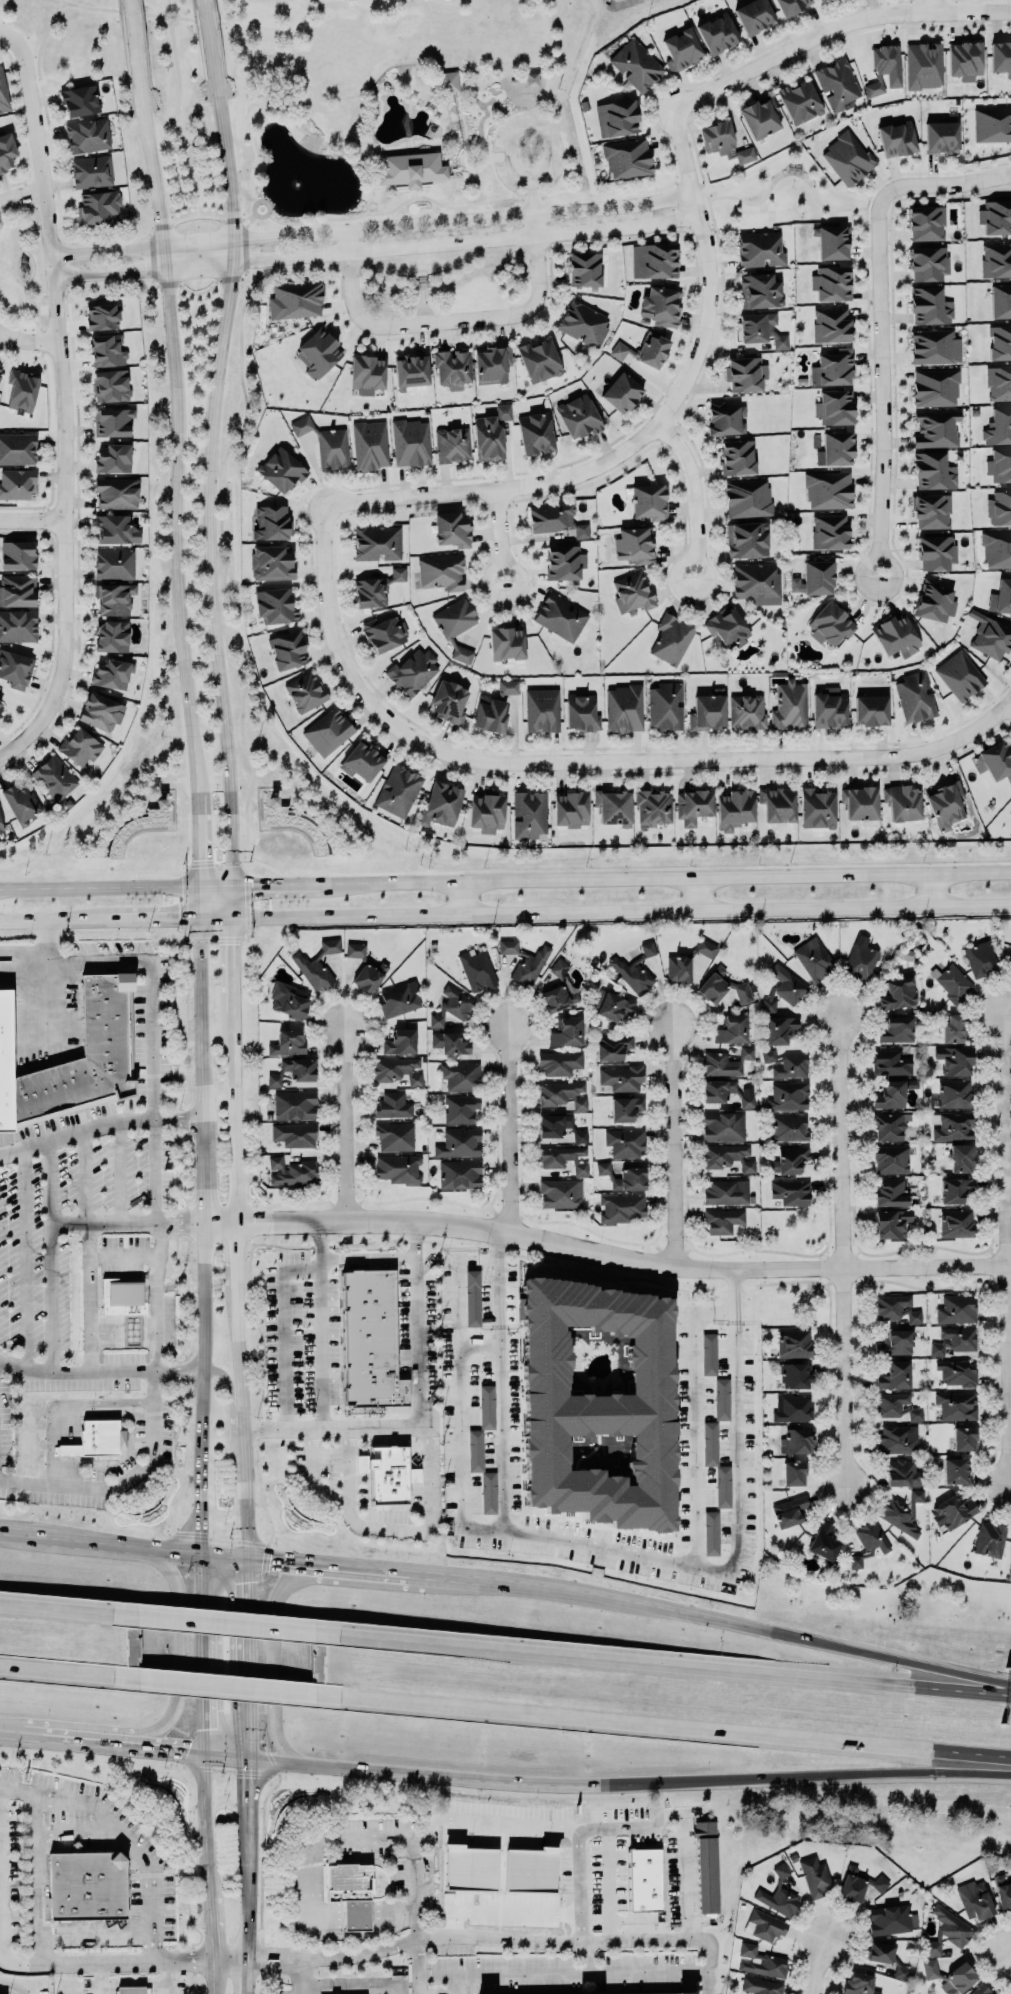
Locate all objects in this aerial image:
building: (820, 0)
road: (451, 2)
road: (168, 4)
road: (85, 5)
building: (791, 5)
road: (933, 5)
road: (153, 13)
building: (754, 16)
road: (163, 17)
road: (185, 18)
road: (257, 25)
road: (836, 29)
building: (718, 33)
road: (45, 36)
road: (7, 38)
road: (209, 39)
road: (135, 44)
building: (681, 49)
building: (1001, 57)
building: (965, 60)
building: (636, 64)
building: (923, 65)
road: (491, 77)
building: (447, 81)
road: (371, 83)
building: (837, 84)
building: (3, 92)
building: (79, 100)
building: (799, 101)
road: (459, 108)
building: (759, 116)
building: (617, 117)
road: (177, 122)
building: (992, 124)
road: (251, 125)
building: (87, 135)
road: (312, 135)
building: (941, 137)
road: (492, 138)
building: (897, 139)
building: (723, 142)
parking lot: (554, 150)
building: (6, 151)
road: (462, 151)
road: (354, 153)
road: (497, 155)
building: (627, 158)
building: (847, 158)
building: (411, 169)
building: (91, 171)
road: (538, 175)
road: (778, 176)
road: (438, 179)
fountain: (301, 181)
road: (945, 181)
road: (21, 194)
road: (533, 195)
road: (479, 203)
road: (59, 204)
building: (97, 207)
road: (254, 214)
road: (259, 214)
building: (995, 217)
road: (196, 218)
road: (242, 218)
building: (926, 223)
road: (373, 229)
road: (620, 240)
building: (832, 241)
road: (245, 245)
road: (376, 249)
building: (759, 249)
road: (152, 258)
building: (657, 260)
building: (996, 260)
building: (928, 263)
road: (68, 264)
building: (584, 269)
road: (33, 270)
road: (391, 274)
building: (831, 283)
road: (75, 289)
road: (207, 290)
building: (759, 291)
road: (423, 299)
building: (295, 300)
building: (1000, 301)
building: (661, 305)
building: (930, 306)
building: (102, 316)
road: (447, 321)
building: (583, 323)
building: (831, 324)
building: (762, 329)
road: (28, 341)
building: (1000, 342)
building: (935, 346)
building: (651, 349)
building: (107, 350)
building: (619, 350)
building: (318, 352)
building: (539, 360)
building: (492, 364)
building: (1, 368)
building: (453, 368)
building: (833, 368)
building: (411, 371)
building: (367, 373)
building: (745, 373)
building: (998, 383)
building: (111, 385)
road: (882, 385)
building: (935, 387)
building: (22, 389)
building: (621, 392)
road: (63, 406)
building: (834, 407)
building: (579, 416)
building: (725, 418)
building: (112, 421)
building: (301, 425)
building: (999, 426)
building: (936, 428)
road: (647, 429)
building: (535, 433)
building: (488, 438)
road: (177, 439)
building: (411, 442)
building: (370, 444)
building: (452, 444)
building: (17, 448)
building: (332, 448)
building: (835, 449)
building: (737, 457)
building: (113, 458)
building: (999, 464)
building: (281, 470)
building: (933, 471)
road: (209, 480)
building: (17, 483)
building: (828, 489)
building: (116, 493)
road: (696, 494)
building: (747, 497)
building: (649, 501)
building: (999, 508)
building: (931, 511)
building: (555, 519)
road: (31, 521)
building: (271, 523)
building: (115, 529)
building: (452, 529)
building: (829, 531)
road: (500, 536)
building: (747, 539)
building: (377, 542)
building: (633, 545)
building: (997, 548)
building: (936, 552)
building: (17, 555)
building: (272, 562)
building: (564, 562)
building: (114, 563)
building: (441, 572)
building: (398, 573)
building: (818, 575)
building: (756, 583)
building: (17, 590)
building: (370, 592)
building: (633, 592)
building: (1003, 595)
building: (113, 598)
building: (934, 601)
building: (275, 605)
building: (560, 616)
building: (830, 624)
building: (18, 625)
building: (456, 626)
building: (727, 627)
building: (384, 633)
building: (111, 635)
building: (896, 635)
building: (671, 638)
building: (991, 638)
building: (507, 643)
building: (287, 650)
building: (15, 668)
building: (413, 671)
building: (112, 673)
building: (959, 675)
building: (305, 692)
building: (915, 696)
building: (449, 701)
building: (790, 705)
building: (665, 706)
building: (624, 707)
building: (829, 707)
building: (2, 709)
building: (542, 710)
building: (708, 710)
building: (871, 710)
building: (101, 711)
building: (746, 711)
building: (581, 712)
building: (490, 713)
road: (988, 720)
building: (328, 731)
building: (79, 747)
building: (362, 760)
building: (995, 760)
road: (553, 762)
building: (54, 777)
building: (398, 790)
building: (902, 801)
building: (21, 802)
building: (859, 802)
building: (441, 803)
building: (777, 804)
building: (946, 805)
building: (613, 806)
building: (693, 806)
building: (653, 807)
building: (570, 808)
building: (734, 808)
building: (817, 808)
building: (486, 812)
building: (529, 814)
building: (1, 828)
road: (197, 854)
traffic signals: (198, 858)
road: (671, 876)
traffic signals: (251, 883)
road: (265, 883)
road: (99, 884)
road: (935, 888)
road: (700, 892)
road: (464, 896)
road: (620, 909)
road: (161, 916)
traffic signals: (179, 916)
road: (46, 918)
traffic signals: (230, 942)
building: (330, 945)
building: (508, 946)
building: (705, 947)
building: (647, 948)
road: (23, 950)
building: (355, 950)
road: (230, 954)
building: (813, 958)
building: (860, 958)
building: (980, 958)
building: (529, 966)
building: (559, 967)
building: (678, 968)
building: (477, 969)
building: (313, 970)
building: (632, 973)
building: (369, 976)
building: (952, 981)
road: (45, 982)
building: (722, 986)
building: (783, 988)
road: (153, 990)
building: (898, 993)
building: (558, 998)
building: (288, 999)
building: (397, 1000)
building: (452, 1005)
building: (613, 1005)
road: (201, 1017)
building: (952, 1028)
building: (732, 1029)
building: (779, 1029)
building: (896, 1029)
building: (566, 1031)
building: (400, 1041)
building: (451, 1041)
building: (288, 1042)
building: (612, 1046)
building: (954, 1059)
building: (82, 1061)
building: (559, 1062)
building: (725, 1062)
building: (890, 1062)
building: (786, 1063)
building: (4, 1065)
building: (398, 1069)
building: (294, 1070)
building: (460, 1076)
building: (621, 1077)
building: (717, 1089)
building: (563, 1093)
building: (892, 1093)
building: (954, 1093)
building: (788, 1095)
building: (747, 1101)
building: (294, 1104)
building: (393, 1105)
building: (461, 1108)
building: (626, 1108)
road: (234, 1123)
road: (100, 1124)
road: (345, 1124)
building: (951, 1125)
building: (723, 1126)
building: (888, 1126)
building: (789, 1127)
road: (509, 1130)
building: (294, 1134)
building: (394, 1136)
building: (459, 1142)
building: (625, 1142)
road: (674, 1146)
building: (728, 1156)
building: (564, 1158)
building: (961, 1158)
building: (789, 1159)
building: (891, 1159)
building: (603, 1167)
building: (398, 1168)
road: (205, 1170)
road: (154, 1171)
building: (291, 1171)
road: (120, 1172)
building: (459, 1173)
road: (84, 1177)
building: (630, 1179)
building: (955, 1189)
building: (726, 1191)
building: (791, 1192)
building: (890, 1192)
building: (560, 1193)
building: (621, 1207)
building: (722, 1220)
building: (956, 1222)
road: (128, 1223)
building: (891, 1223)
road: (1006, 1249)
road: (842, 1251)
road: (237, 1253)
road: (122, 1255)
road: (49, 1256)
road: (385, 1256)
road: (607, 1256)
road: (26, 1258)
road: (155, 1296)
building: (472, 1297)
road: (87, 1298)
building: (126, 1305)
road: (714, 1308)
building: (896, 1308)
building: (956, 1308)
road: (285, 1329)
building: (954, 1340)
building: (370, 1341)
road: (480, 1341)
building: (793, 1342)
building: (896, 1342)
building: (709, 1353)
road: (242, 1358)
road: (323, 1364)
road: (101, 1372)
building: (957, 1372)
building: (795, 1375)
building: (895, 1375)
road: (228, 1378)
road: (499, 1382)
road: (422, 1391)
road: (462, 1393)
building: (721, 1398)
road: (64, 1401)
building: (597, 1403)
building: (956, 1405)
building: (486, 1406)
building: (897, 1406)
road: (203, 1407)
building: (793, 1408)
road: (238, 1419)
road: (736, 1422)
building: (97, 1438)
building: (897, 1438)
building: (964, 1438)
road: (692, 1440)
building: (797, 1441)
road: (244, 1448)
building: (475, 1450)
building: (716, 1464)
road: (347, 1467)
building: (955, 1470)
building: (901, 1472)
road: (313, 1473)
building: (388, 1473)
building: (794, 1473)
road: (122, 1479)
building: (488, 1492)
road: (247, 1509)
building: (789, 1511)
building: (953, 1511)
building: (902, 1512)
road: (431, 1522)
traffic signals: (200, 1531)
building: (711, 1532)
road: (21, 1533)
building: (990, 1538)
building: (824, 1541)
building: (868, 1541)
road: (120, 1542)
road: (592, 1545)
road: (224, 1551)
traffic signals: (270, 1556)
road: (280, 1557)
road: (359, 1564)
road: (454, 1573)
traffic signals: (250, 1581)
road: (638, 1600)
road: (59, 1609)
road: (223, 1624)
road: (178, 1644)
road: (250, 1655)
road: (893, 1655)
road: (274, 1661)
road: (669, 1662)
road: (59, 1670)
road: (204, 1673)
road: (232, 1687)
road: (678, 1725)
traffic signals: (206, 1729)
road: (11, 1731)
road: (32, 1734)
road: (88, 1740)
traffic signals: (187, 1751)
road: (193, 1751)
road: (279, 1761)
road: (450, 1775)
traffic signals: (251, 1778)
road: (801, 1779)
road: (504, 1820)
road: (209, 1821)
road: (250, 1821)
road: (75, 1828)
road: (641, 1828)
road: (122, 1833)
road: (423, 1834)
road: (407, 1838)
building: (706, 1866)
building: (470, 1867)
road: (262, 1868)
building: (530, 1868)
building: (814, 1875)
road: (33, 1876)
building: (644, 1879)
parking lot: (672, 1879)
road: (608, 1884)
building: (857, 1884)
building: (87, 1885)
building: (1003, 1891)
building: (350, 1892)
building: (779, 1895)
building: (975, 1900)
road: (310, 1901)
road: (505, 1909)
road: (834, 1910)
road: (395, 1915)
road: (356, 1916)
building: (891, 1919)
road: (249, 1920)
road: (212, 1921)
building: (766, 1924)
road: (93, 1928)
building: (949, 1930)
road: (501, 1938)
building: (880, 1952)
road: (276, 1953)
road: (1010, 1953)
road: (981, 1955)
road: (231, 1957)
road: (23, 1959)
building: (761, 1961)
road: (275, 1963)
road: (710, 1965)
road: (818, 1966)
road: (418, 1967)
road: (649, 1972)
parking lot: (560, 1973)
road: (213, 1974)
road: (519, 1974)
road: (248, 1975)
building: (948, 1976)
road: (100, 1977)
road: (306, 1978)
road: (144, 1982)
road: (17, 1983)
road: (357, 1983)
building: (859, 1984)
road: (455, 1985)
building: (761, 1986)
road: (166, 1988)
building: (981, 1989)
building: (132, 1990)
building: (644, 1993)

